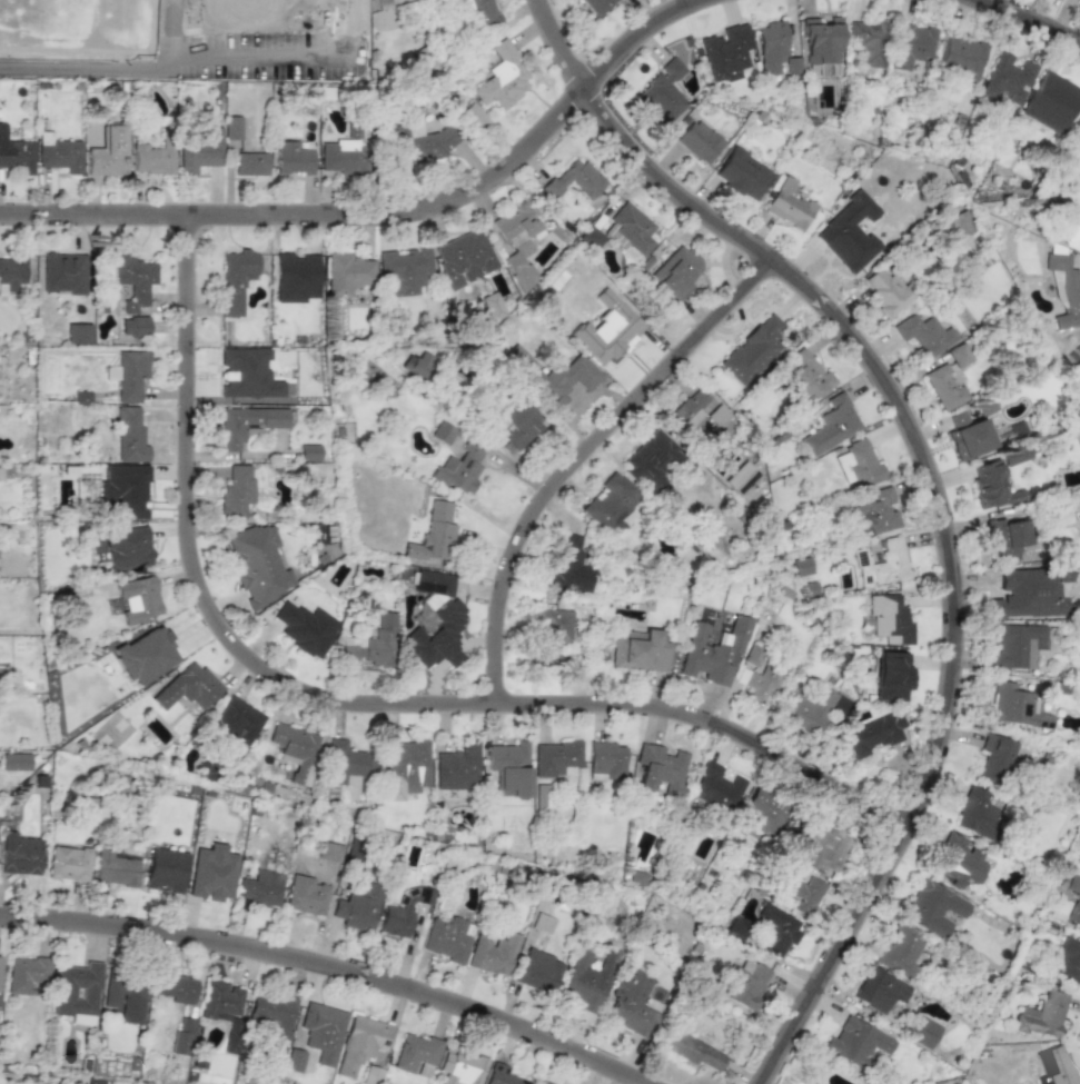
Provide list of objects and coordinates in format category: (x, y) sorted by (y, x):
building: (1079, 0)
building: (596, 6)
building: (479, 12)
park: (49, 19)
road: (1021, 22)
building: (866, 42)
building: (820, 44)
building: (770, 46)
building: (725, 50)
building: (960, 57)
building: (502, 78)
building: (1005, 78)
building: (662, 92)
building: (1049, 101)
building: (474, 117)
building: (1078, 123)
building: (231, 127)
building: (698, 141)
building: (422, 142)
building: (16, 152)
building: (107, 152)
building: (200, 152)
building: (59, 156)
building: (343, 157)
building: (293, 158)
building: (152, 159)
building: (250, 163)
building: (742, 173)
building: (573, 179)
building: (787, 205)
road: (389, 219)
building: (959, 223)
building: (628, 228)
building: (1070, 230)
building: (848, 232)
building: (516, 241)
building: (463, 257)
building: (403, 271)
building: (11, 274)
building: (63, 274)
building: (347, 274)
building: (677, 274)
building: (297, 276)
building: (238, 278)
building: (135, 280)
building: (884, 289)
building: (1063, 289)
building: (489, 304)
building: (133, 326)
building: (924, 332)
building: (78, 334)
building: (606, 334)
building: (753, 349)
building: (129, 374)
building: (247, 374)
building: (804, 376)
building: (559, 379)
building: (945, 384)
building: (690, 412)
building: (515, 422)
building: (247, 424)
building: (831, 425)
building: (129, 436)
building: (970, 438)
building: (309, 451)
road: (577, 458)
building: (858, 463)
building: (460, 467)
building: (990, 486)
road: (927, 488)
building: (123, 490)
building: (236, 491)
building: (610, 501)
building: (875, 514)
building: (432, 534)
building: (1003, 535)
building: (127, 547)
building: (257, 564)
building: (881, 564)
building: (566, 566)
building: (801, 566)
building: (433, 581)
building: (1028, 593)
building: (140, 600)
building: (886, 619)
building: (305, 628)
building: (433, 631)
building: (552, 633)
building: (370, 644)
building: (1015, 645)
building: (640, 650)
building: (712, 653)
building: (146, 655)
building: (891, 675)
building: (755, 684)
building: (187, 687)
road: (355, 707)
building: (1015, 707)
building: (806, 709)
building: (237, 719)
building: (873, 734)
building: (294, 750)
building: (555, 757)
building: (994, 757)
building: (606, 759)
building: (14, 762)
building: (345, 763)
building: (511, 767)
building: (404, 768)
building: (457, 768)
building: (660, 768)
building: (716, 785)
building: (763, 813)
building: (975, 813)
building: (821, 848)
building: (329, 851)
building: (19, 854)
building: (958, 861)
building: (68, 864)
building: (115, 866)
building: (165, 871)
building: (211, 873)
building: (261, 888)
building: (306, 895)
building: (803, 895)
building: (357, 908)
building: (932, 908)
building: (400, 913)
building: (777, 929)
building: (446, 939)
building: (899, 951)
building: (493, 953)
building: (0, 959)
building: (1067, 959)
road: (329, 966)
building: (537, 971)
building: (26, 974)
building: (585, 983)
building: (745, 983)
building: (176, 988)
building: (879, 989)
building: (77, 993)
building: (111, 993)
building: (220, 1000)
building: (132, 1003)
building: (631, 1003)
building: (1042, 1015)
building: (274, 1018)
building: (323, 1031)
building: (923, 1032)
building: (182, 1037)
building: (856, 1041)
building: (360, 1043)
building: (694, 1051)
building: (416, 1055)
building: (294, 1061)
building: (1053, 1066)
building: (460, 1068)
building: (371, 1075)
building: (502, 1075)
building: (542, 1082)
building: (89, 1083)

